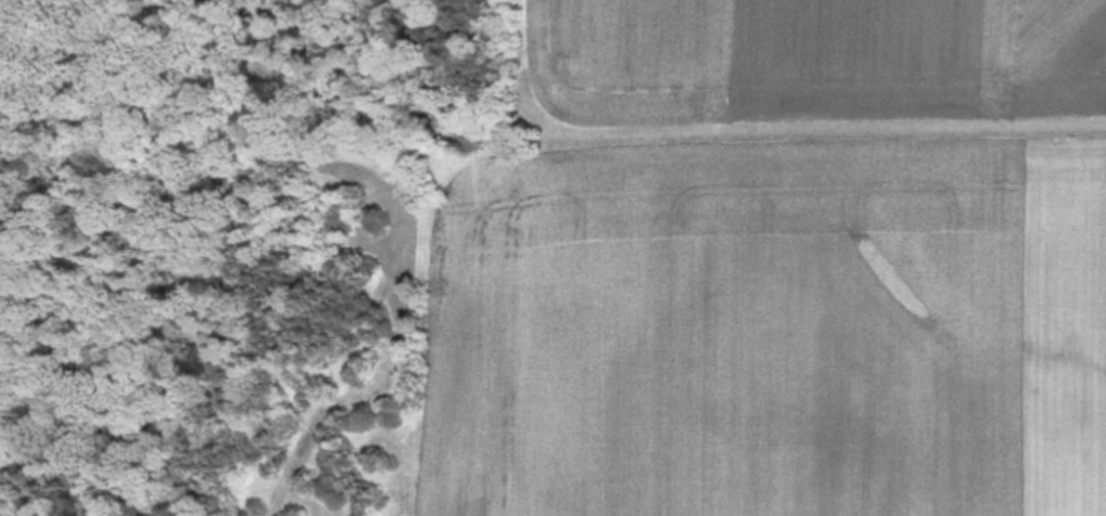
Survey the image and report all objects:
crop: (779, 266)

